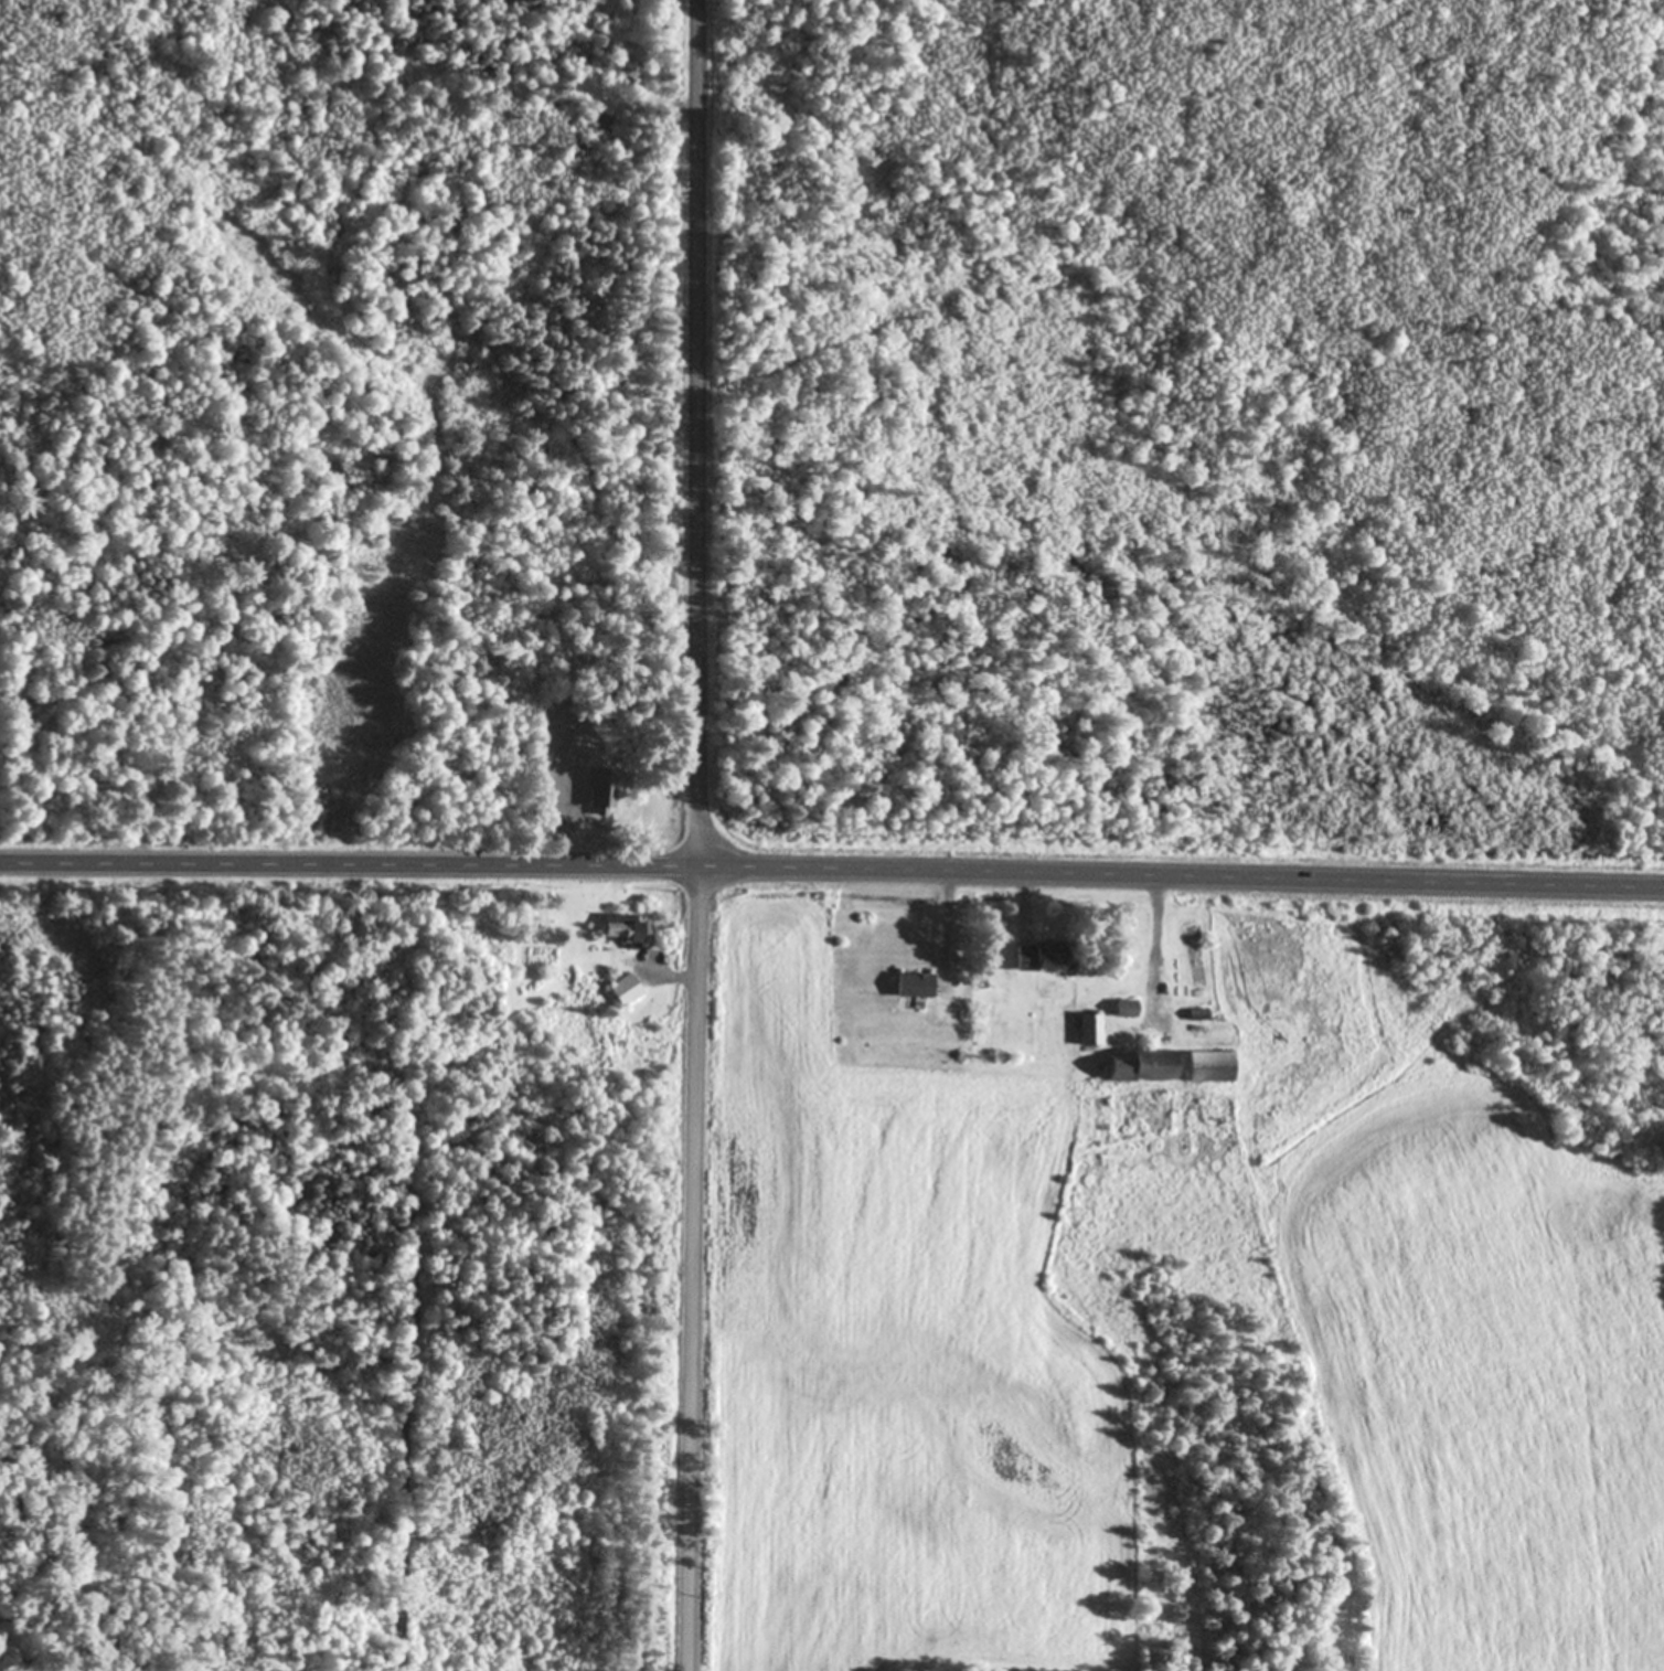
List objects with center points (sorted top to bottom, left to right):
building: (596, 791)
road: (694, 835)
road: (348, 872)
road: (1178, 877)
road: (1021, 898)
road: (943, 918)
building: (620, 929)
road: (1151, 935)
building: (1036, 956)
road: (672, 977)
building: (909, 984)
building: (622, 990)
building: (1122, 1009)
building: (1087, 1030)
building: (1135, 1066)
building: (1206, 1066)

